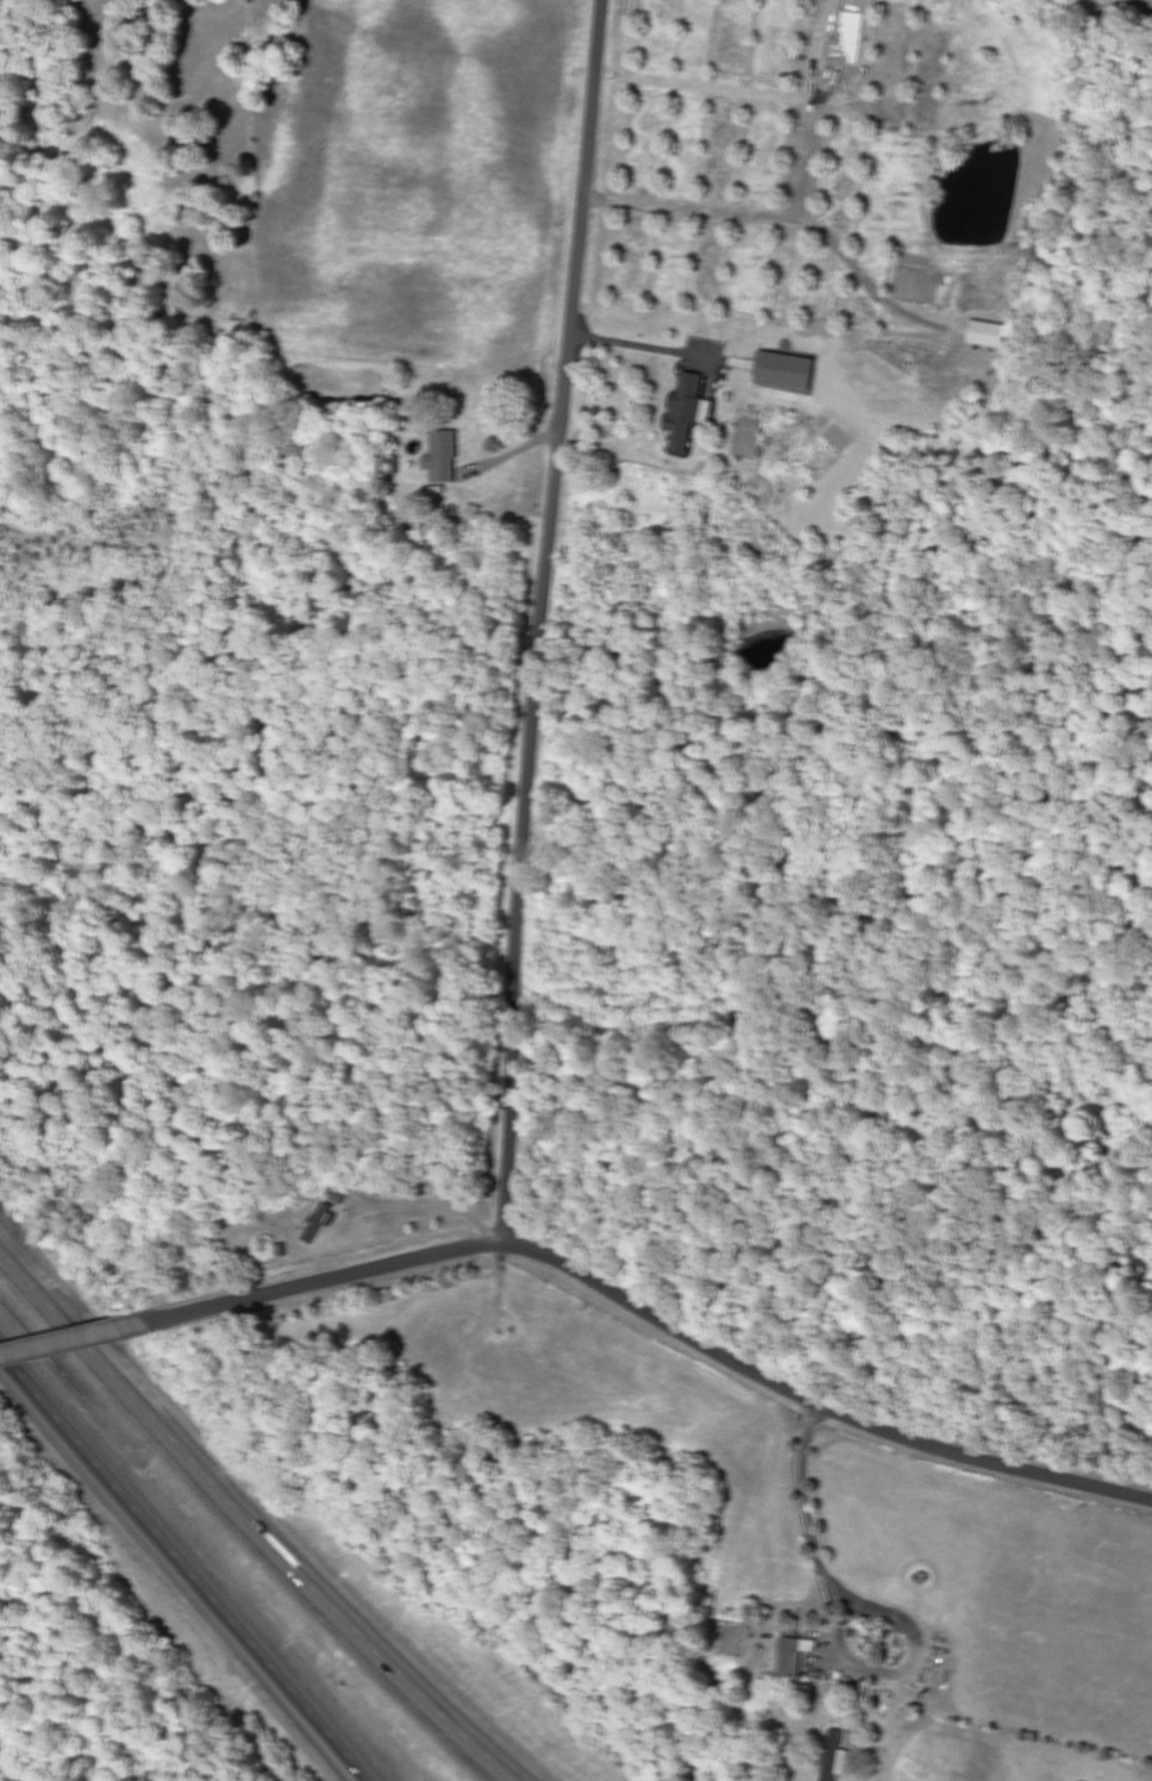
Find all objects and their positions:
building: (990, 335)
building: (788, 371)
building: (690, 412)
building: (446, 458)
road: (544, 623)
building: (324, 1221)
road: (653, 1319)
road: (74, 1342)
road: (252, 1527)
road: (186, 1569)
building: (796, 1655)
building: (837, 1752)

